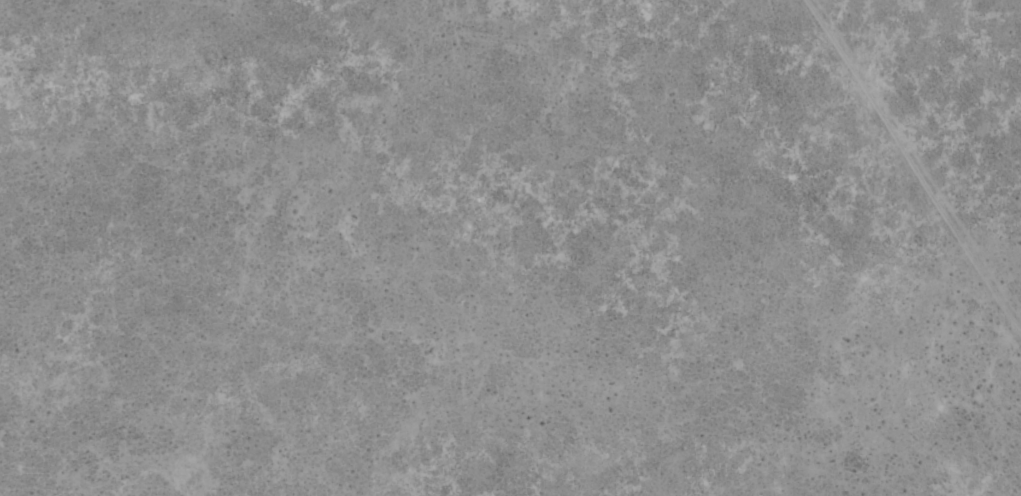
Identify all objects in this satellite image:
road: (912, 167)

